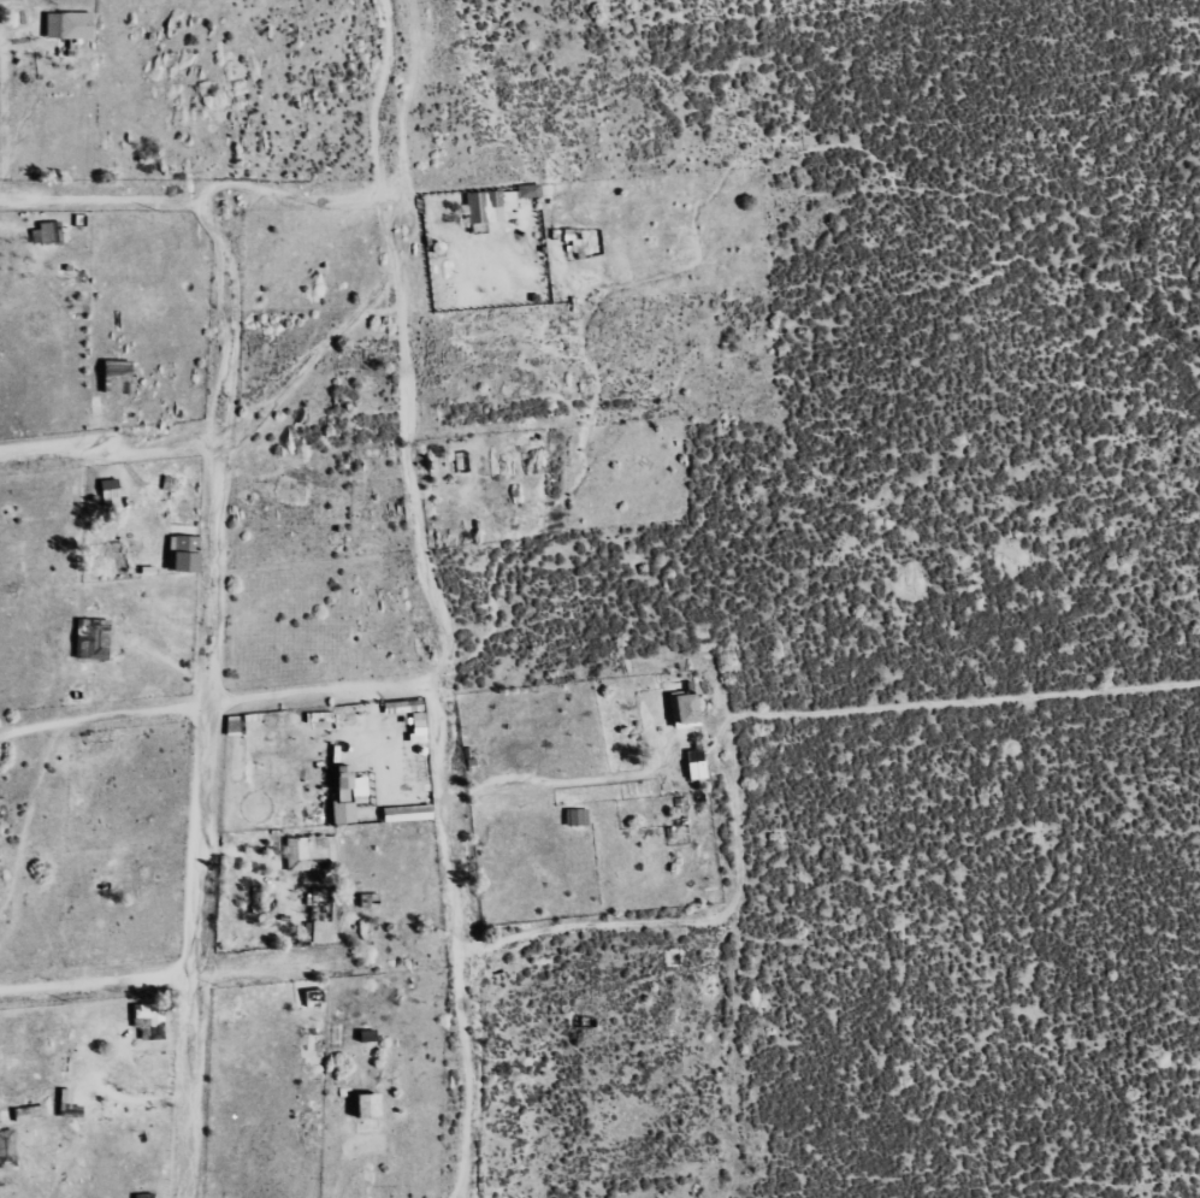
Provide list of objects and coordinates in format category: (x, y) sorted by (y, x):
road: (374, 96)

